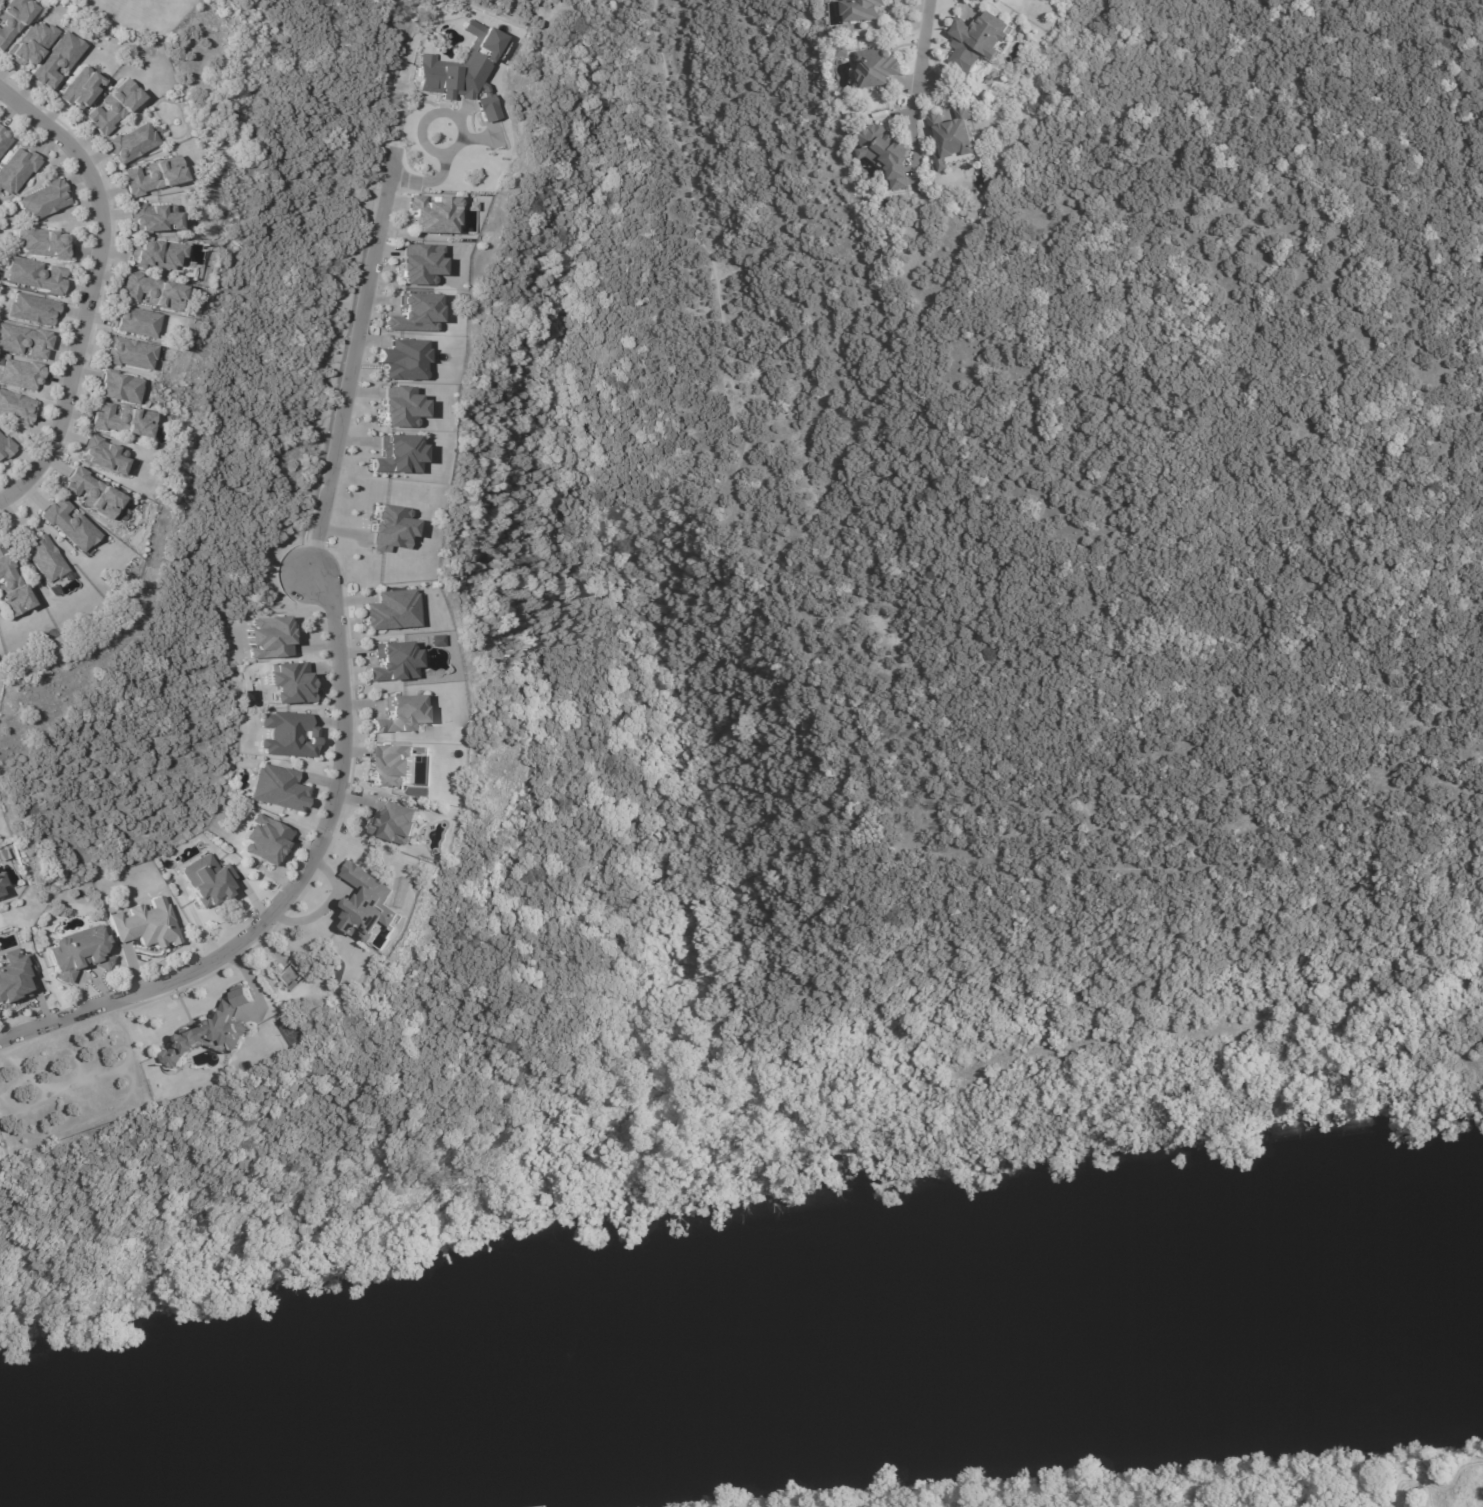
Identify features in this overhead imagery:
building: (863, 12)
building: (11, 20)
building: (983, 37)
building: (34, 44)
building: (498, 49)
building: (842, 53)
building: (57, 59)
building: (878, 70)
building: (462, 71)
building: (80, 89)
road: (919, 90)
building: (113, 107)
building: (0, 128)
road: (461, 138)
building: (3, 141)
building: (132, 143)
building: (954, 143)
building: (885, 157)
building: (16, 169)
building: (154, 175)
building: (42, 200)
building: (470, 205)
building: (431, 213)
building: (153, 217)
building: (45, 243)
building: (153, 254)
building: (419, 263)
building: (35, 276)
building: (150, 290)
road: (87, 291)
building: (31, 309)
building: (414, 313)
building: (137, 323)
building: (23, 341)
building: (129, 353)
road: (355, 359)
building: (403, 359)
building: (20, 374)
building: (119, 389)
building: (400, 406)
building: (15, 408)
building: (120, 421)
building: (4, 448)
building: (103, 454)
building: (397, 455)
building: (91, 493)
building: (69, 525)
building: (390, 528)
building: (43, 558)
building: (9, 589)
building: (391, 610)
building: (268, 637)
building: (289, 682)
building: (401, 715)
building: (287, 734)
building: (391, 765)
building: (277, 787)
building: (394, 823)
building: (264, 840)
building: (207, 880)
building: (0, 882)
road: (300, 891)
building: (364, 903)
building: (146, 925)
building: (79, 954)
building: (14, 975)
building: (292, 987)
building: (211, 1030)
river: (795, 1337)
road: (1309, 1474)
park: (1154, 1487)

